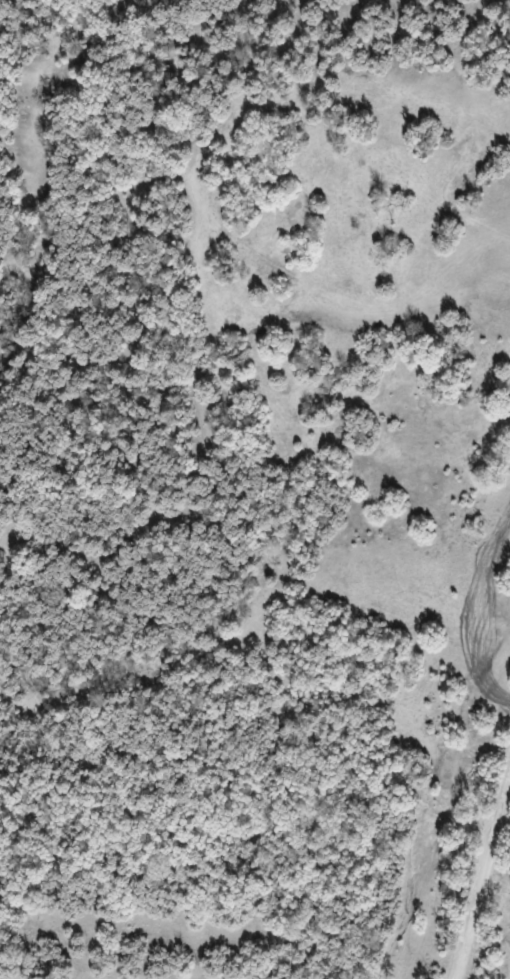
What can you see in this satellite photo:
road: (480, 873)

